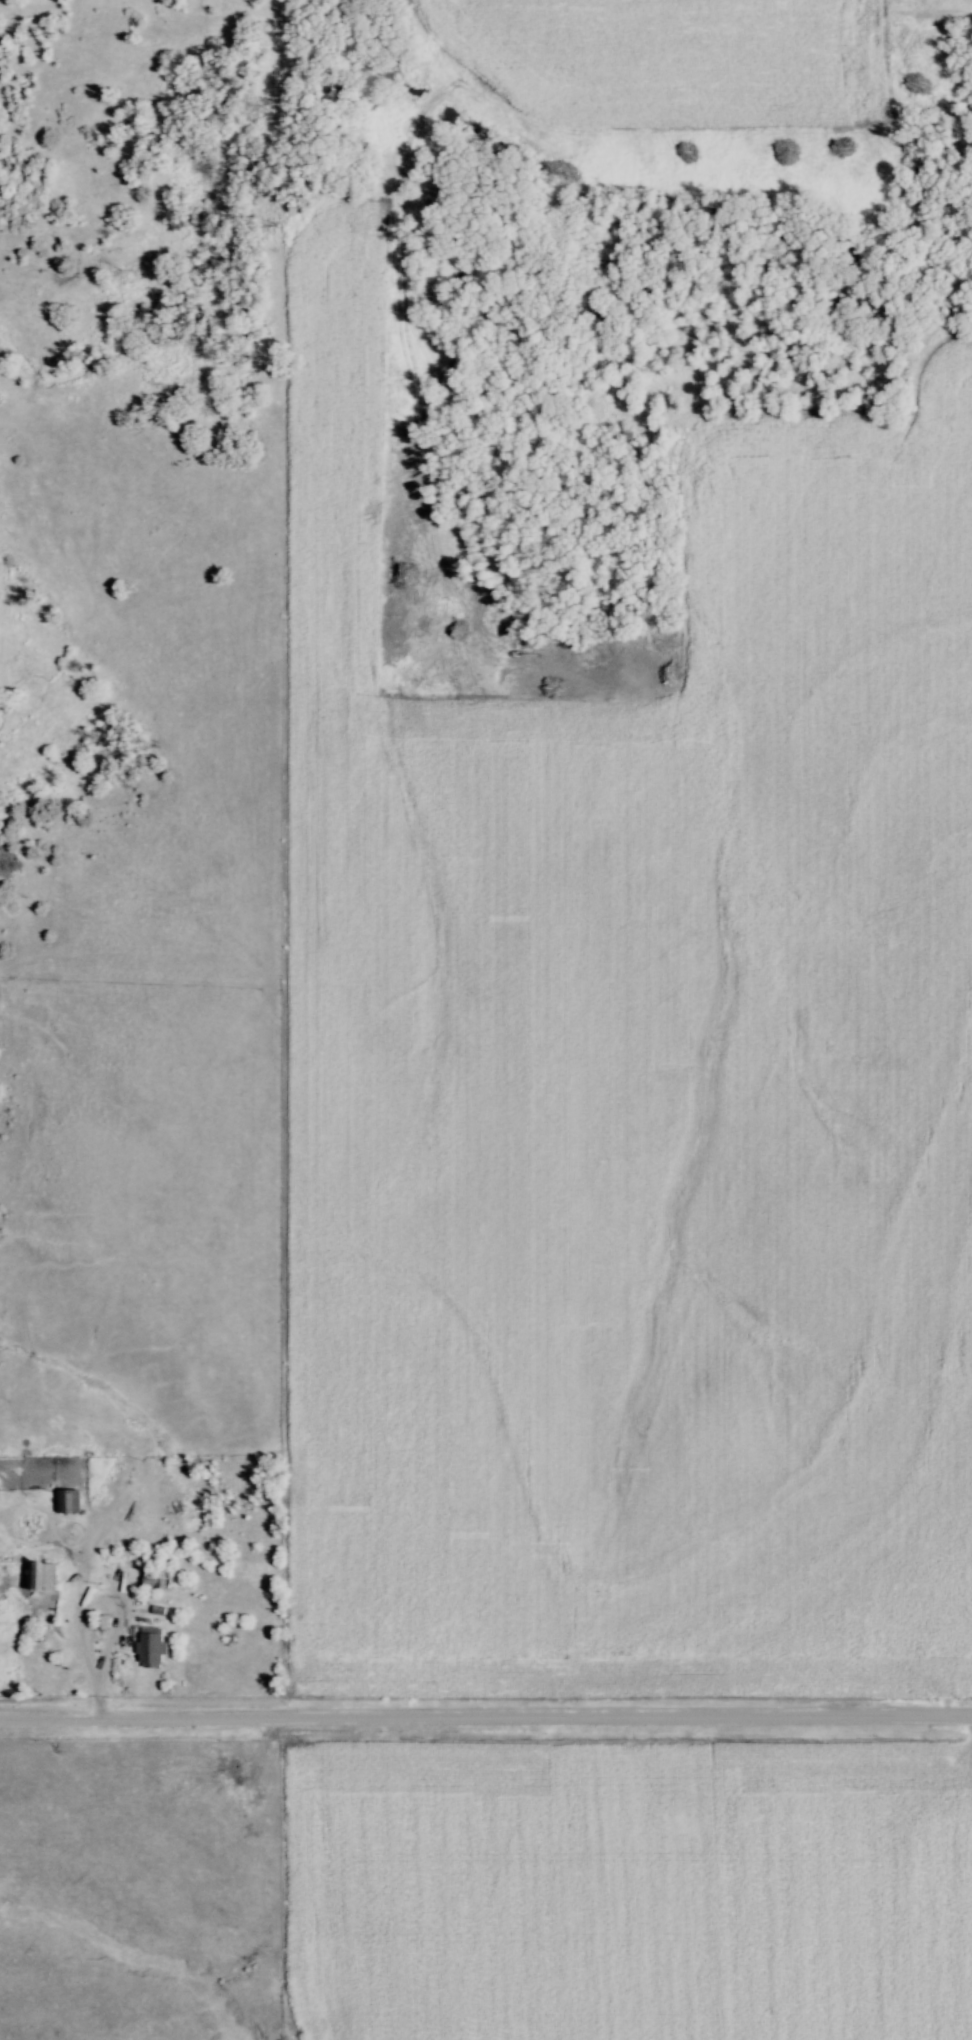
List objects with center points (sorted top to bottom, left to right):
building: (67, 1501)
building: (41, 1576)
building: (150, 1647)
road: (485, 1717)

